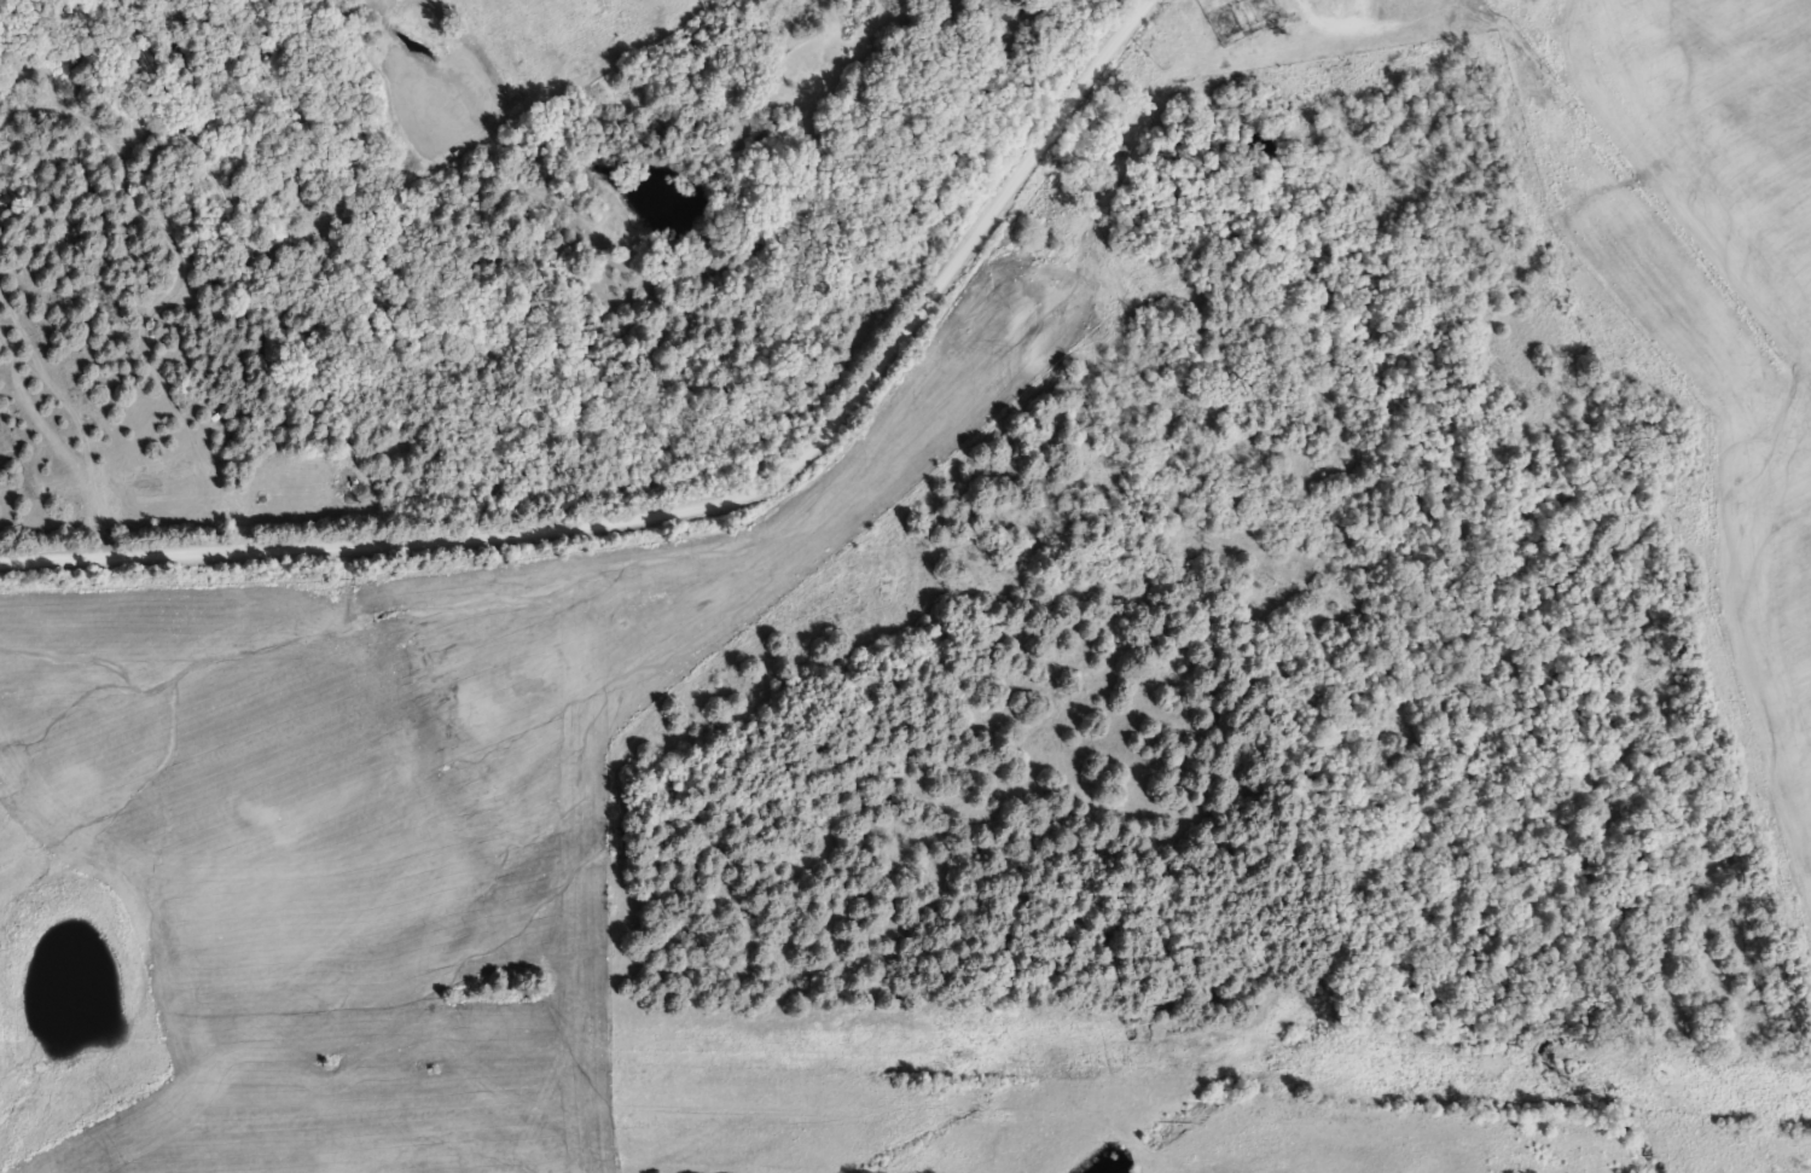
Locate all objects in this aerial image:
road: (689, 503)

